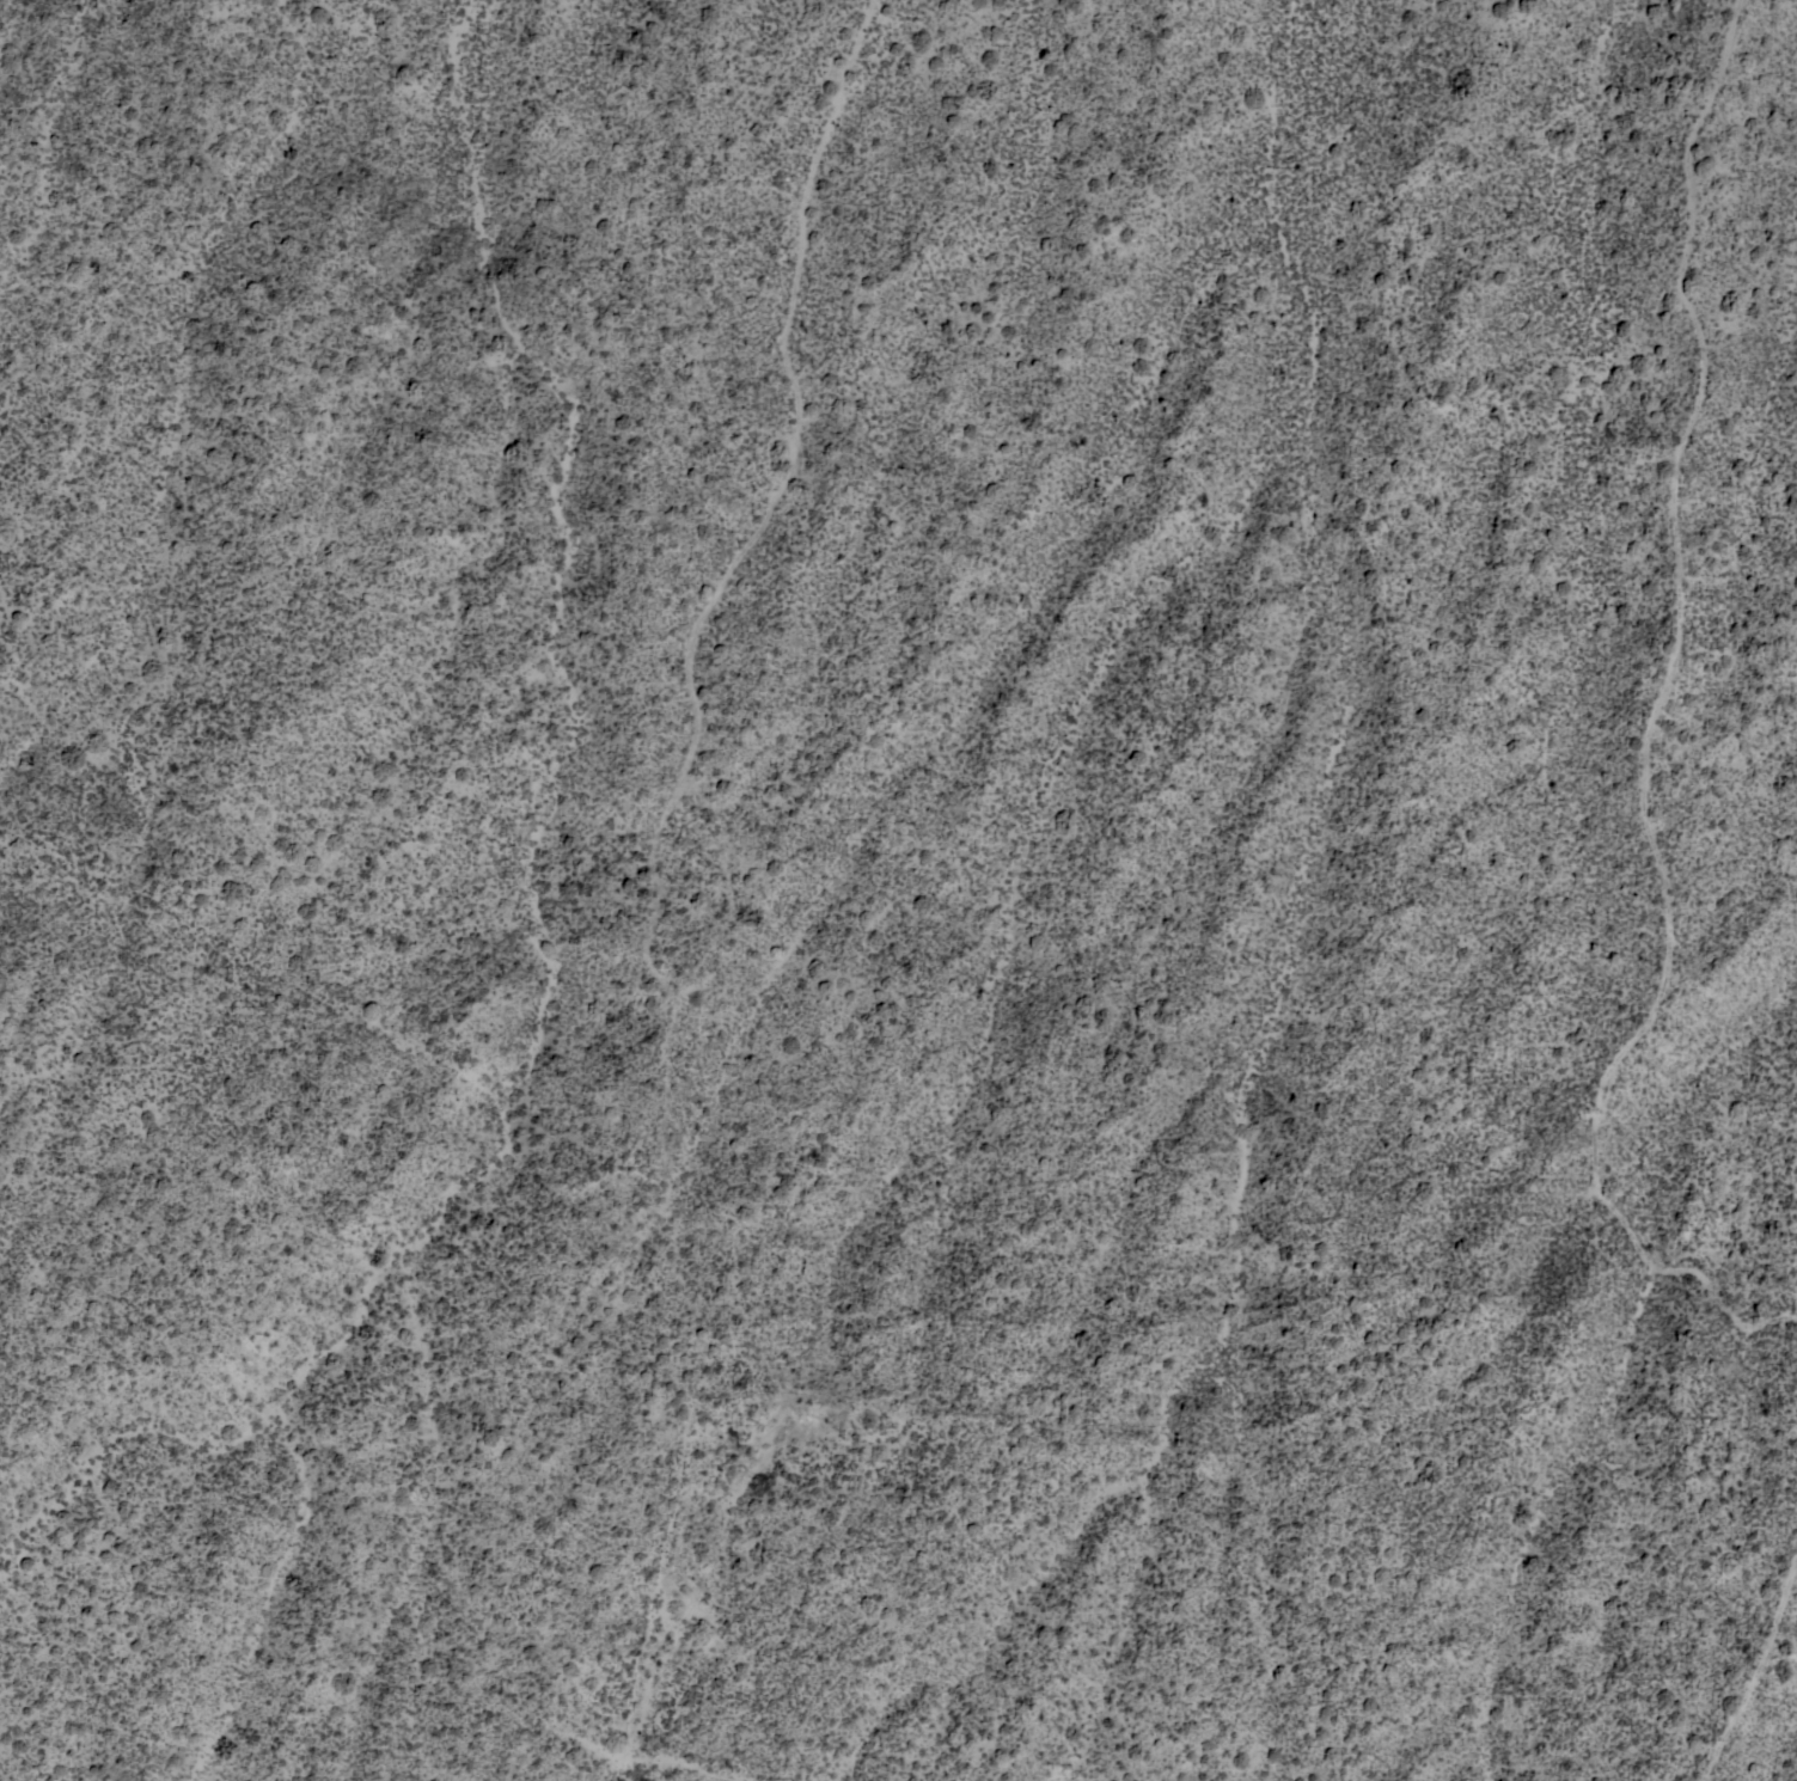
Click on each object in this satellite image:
road: (1280, 1169)

